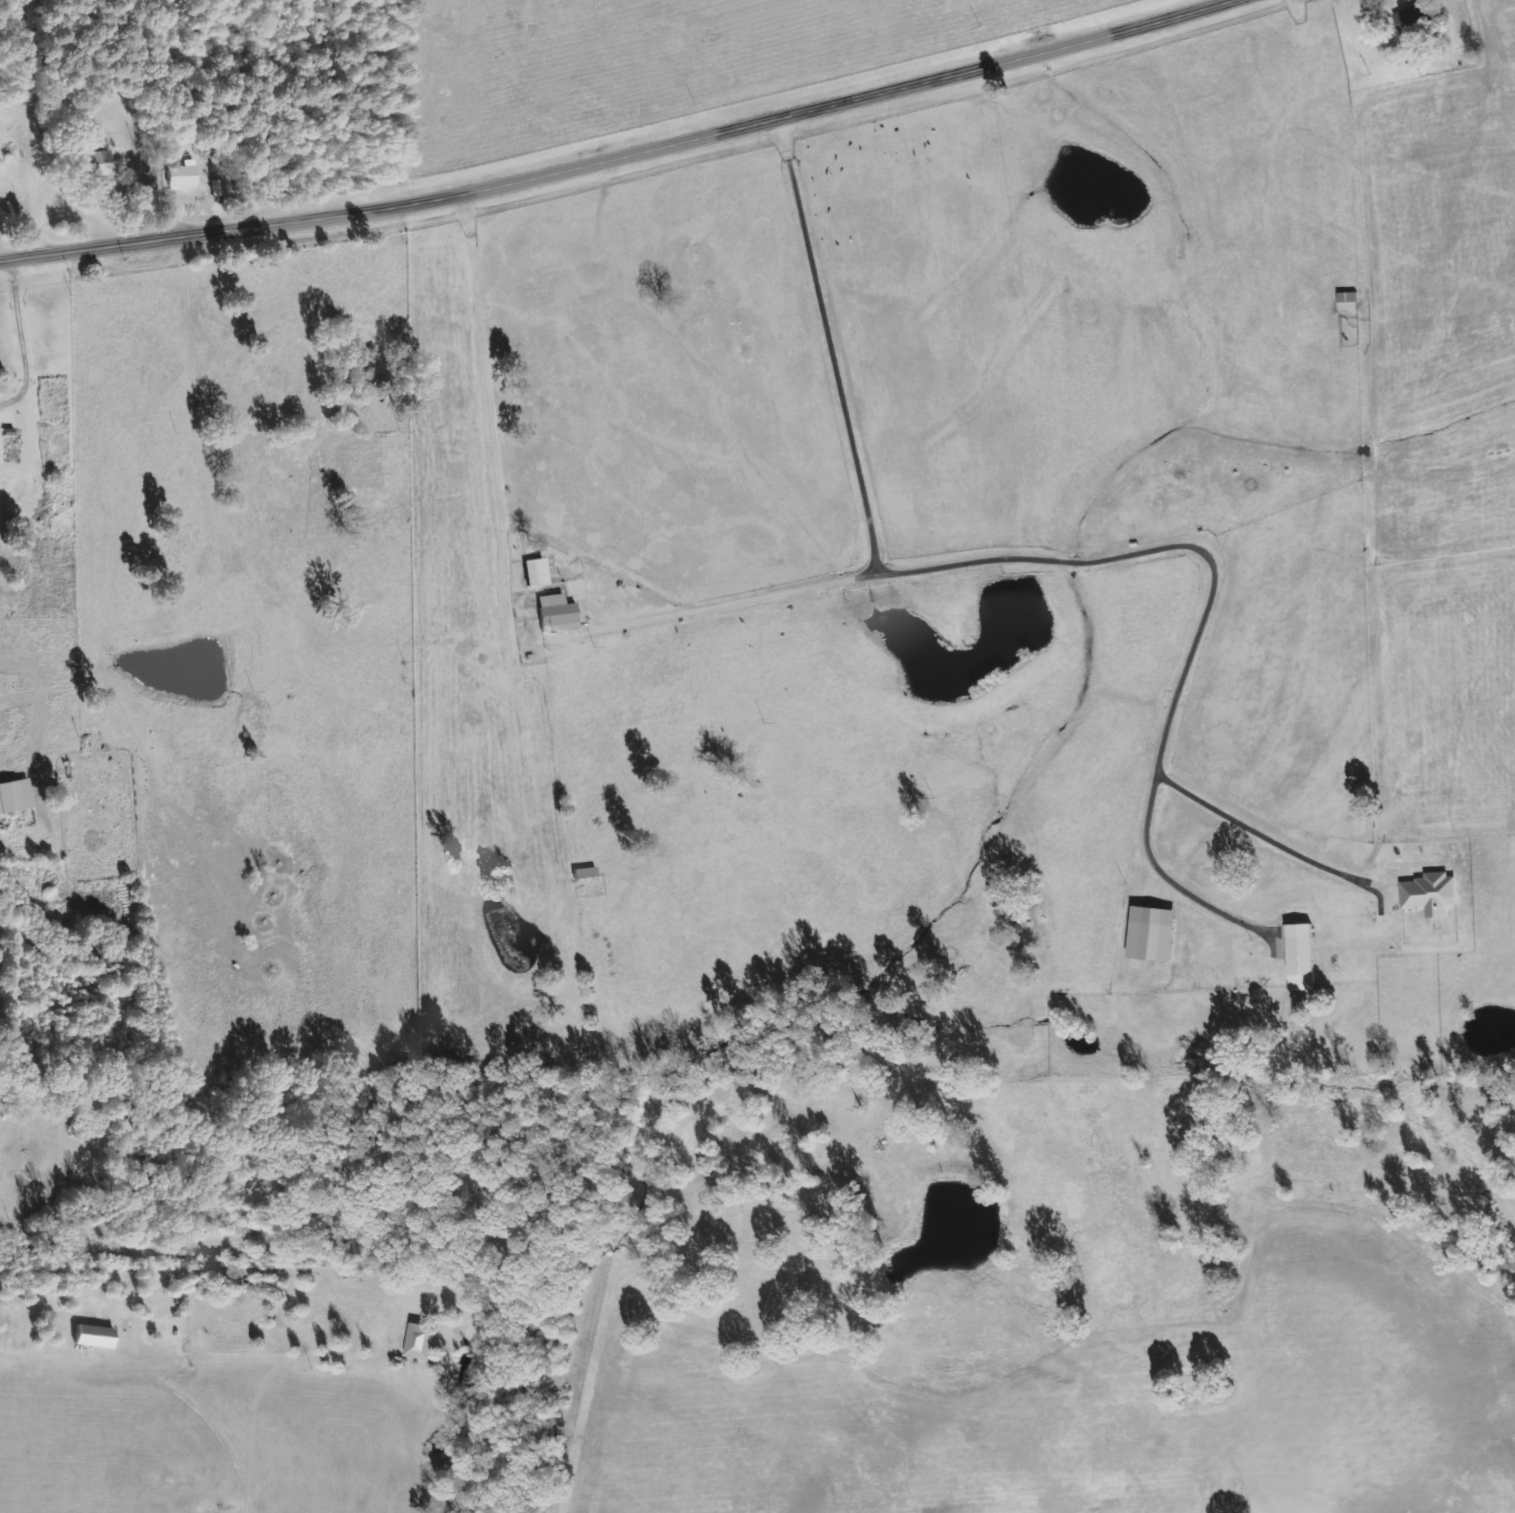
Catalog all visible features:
building: (1413, 24)
road: (622, 157)
building: (90, 164)
building: (1347, 301)
building: (534, 571)
building: (555, 612)
building: (14, 794)
building: (1430, 893)
building: (1150, 933)
building: (1300, 956)
building: (92, 1335)
building: (419, 1341)

